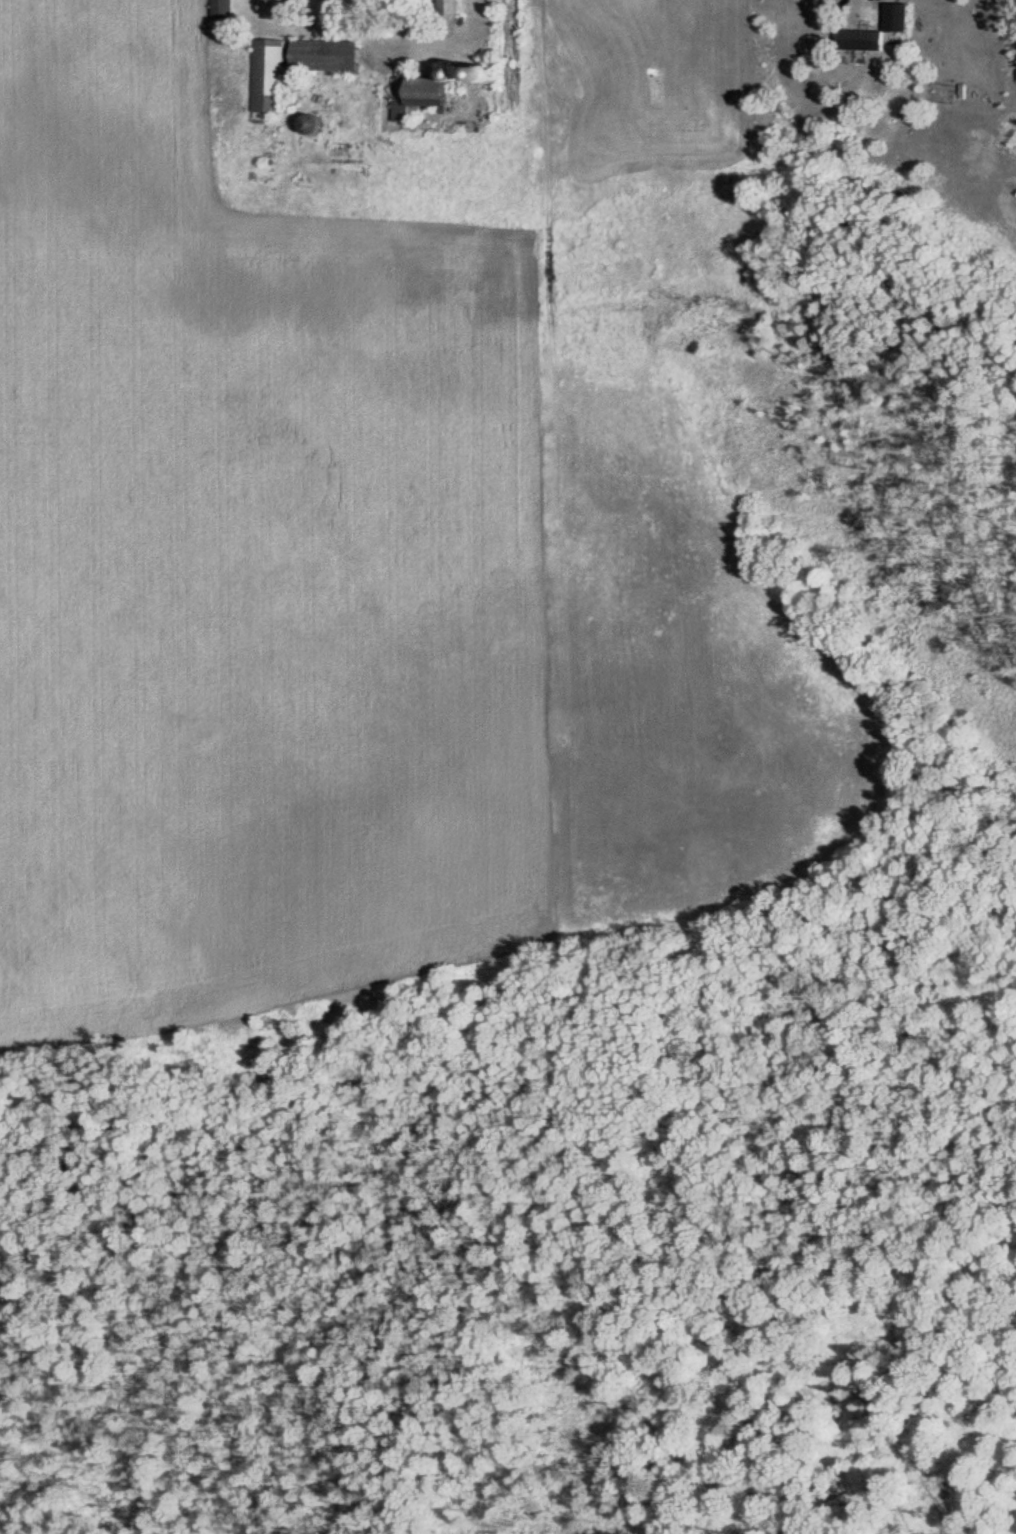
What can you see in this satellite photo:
building: (452, 8)
road: (883, 8)
building: (227, 11)
building: (865, 42)
building: (329, 57)
building: (272, 78)
building: (314, 126)
crop: (346, 584)

